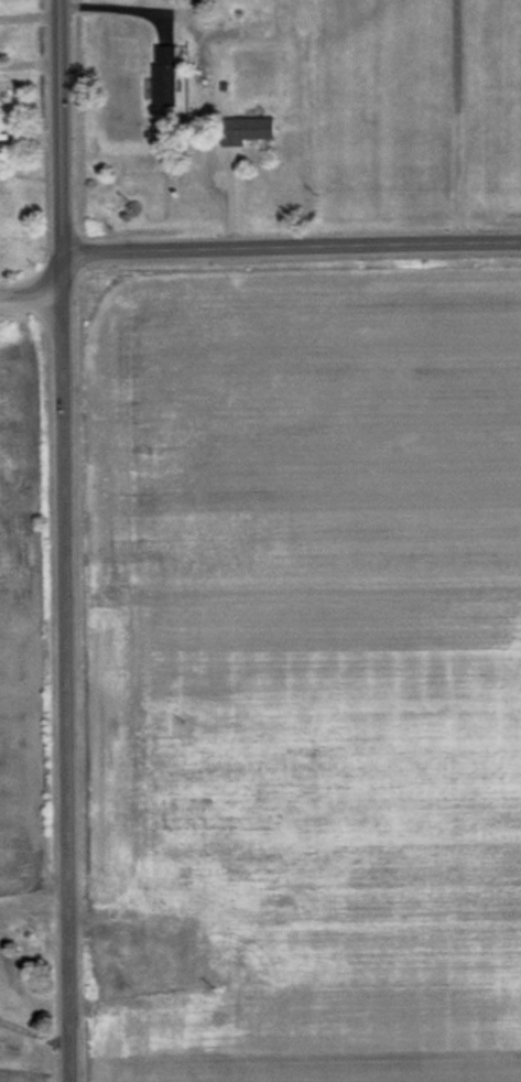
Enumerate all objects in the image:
building: (163, 75)
road: (460, 121)
building: (246, 129)
road: (286, 247)
road: (30, 288)
road: (63, 541)

